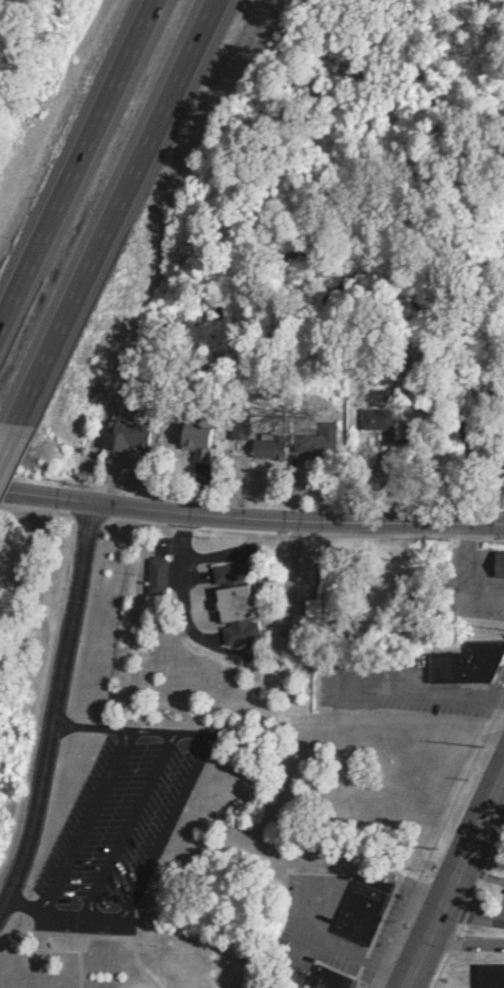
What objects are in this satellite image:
road: (75, 156)
road: (113, 214)
building: (234, 428)
building: (118, 436)
road: (5, 439)
building: (190, 442)
road: (251, 527)
road: (177, 563)
building: (495, 564)
building: (224, 572)
building: (150, 576)
road: (462, 578)
building: (228, 615)
building: (473, 653)
road: (456, 692)
road: (49, 707)
road: (169, 807)
road: (79, 819)
road: (122, 822)
road: (450, 873)
road: (479, 874)
building: (355, 908)
road: (468, 918)
road: (462, 940)
road: (323, 945)
road: (290, 947)
building: (487, 976)
building: (323, 978)

